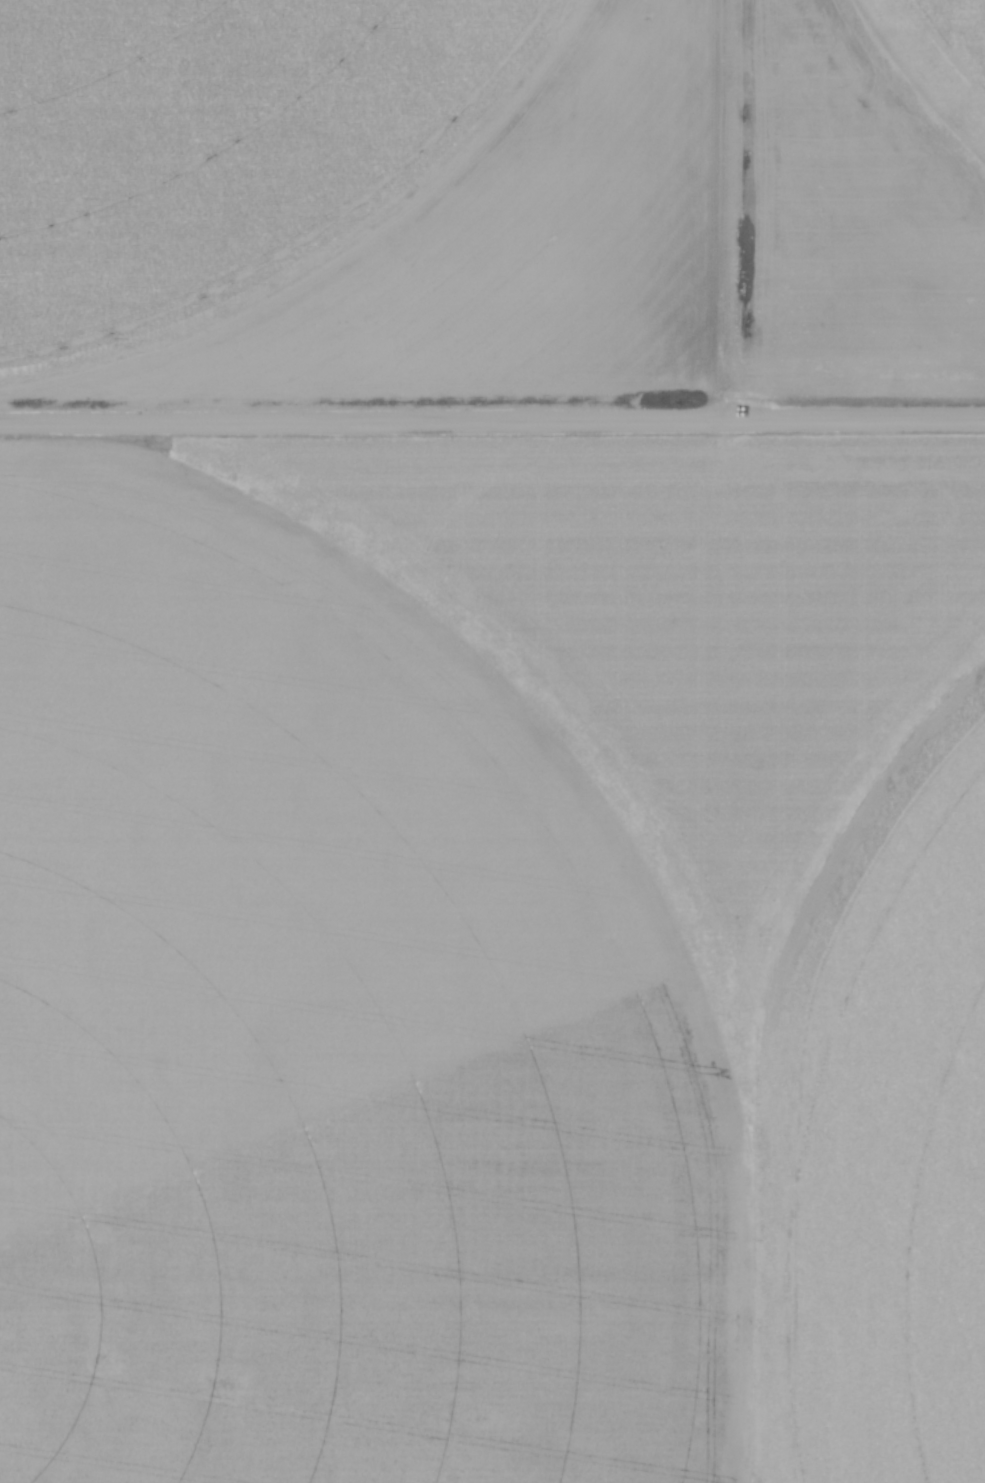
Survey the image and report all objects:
road: (492, 422)

